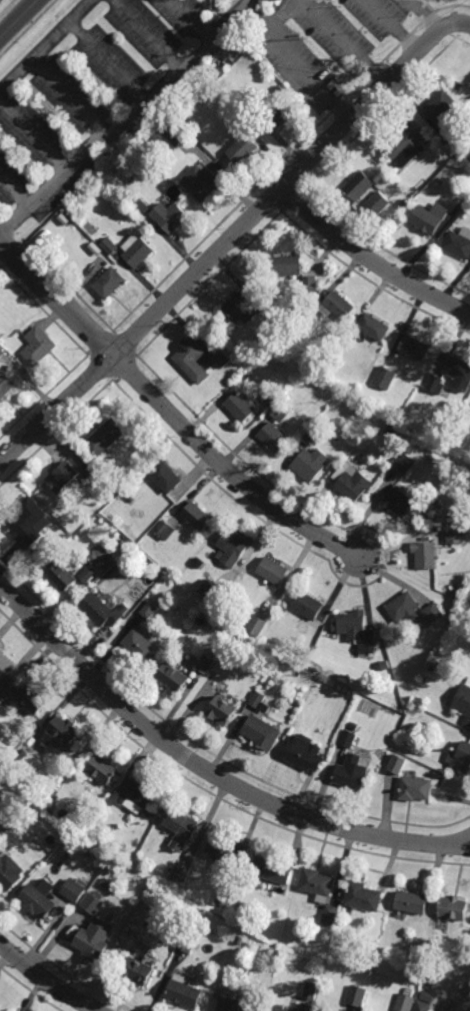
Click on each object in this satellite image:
building: (274, 0)
road: (242, 9)
road: (426, 15)
road: (19, 19)
road: (192, 20)
road: (391, 26)
road: (463, 26)
road: (147, 36)
road: (342, 42)
road: (46, 44)
road: (108, 64)
road: (302, 72)
road: (70, 96)
building: (440, 106)
road: (145, 108)
building: (278, 113)
building: (177, 133)
road: (34, 134)
building: (454, 139)
building: (407, 144)
building: (242, 148)
building: (201, 182)
building: (359, 185)
building: (412, 197)
building: (463, 202)
building: (378, 203)
building: (405, 203)
building: (139, 205)
building: (169, 215)
building: (430, 218)
road: (14, 220)
building: (77, 229)
road: (227, 243)
building: (458, 244)
building: (108, 246)
building: (137, 251)
road: (370, 260)
building: (288, 265)
building: (108, 282)
building: (310, 283)
building: (275, 290)
building: (336, 306)
building: (240, 308)
building: (374, 327)
building: (37, 345)
building: (415, 348)
building: (1, 352)
building: (222, 358)
building: (192, 361)
building: (459, 373)
building: (385, 378)
building: (6, 384)
building: (436, 385)
building: (271, 398)
building: (240, 407)
road: (169, 412)
building: (280, 413)
building: (389, 431)
building: (273, 436)
building: (315, 437)
building: (103, 438)
building: (309, 463)
building: (404, 463)
building: (446, 475)
building: (165, 477)
building: (62, 478)
building: (95, 478)
building: (120, 479)
building: (351, 482)
building: (130, 498)
building: (398, 500)
building: (197, 516)
building: (28, 523)
building: (164, 529)
building: (456, 533)
building: (120, 542)
building: (232, 548)
building: (425, 550)
building: (445, 566)
building: (272, 570)
building: (87, 573)
building: (61, 575)
building: (213, 591)
building: (306, 604)
building: (404, 608)
building: (103, 609)
building: (149, 609)
building: (433, 612)
building: (254, 624)
building: (228, 632)
building: (357, 632)
building: (235, 639)
building: (141, 645)
building: (205, 663)
building: (5, 666)
building: (172, 675)
building: (323, 678)
building: (31, 698)
building: (258, 700)
building: (463, 702)
building: (222, 709)
building: (412, 709)
building: (354, 725)
building: (261, 730)
building: (63, 732)
building: (348, 738)
building: (304, 753)
building: (17, 757)
building: (460, 758)
building: (398, 763)
building: (102, 768)
road: (206, 772)
building: (352, 772)
building: (415, 787)
building: (137, 793)
building: (33, 814)
building: (4, 823)
building: (181, 827)
building: (96, 844)
building: (131, 845)
building: (226, 851)
building: (271, 869)
building: (9, 872)
building: (181, 872)
building: (110, 885)
building: (75, 888)
building: (320, 890)
building: (363, 896)
building: (224, 897)
building: (39, 898)
building: (93, 901)
building: (411, 902)
building: (453, 907)
building: (240, 919)
building: (199, 923)
building: (240, 940)
building: (93, 941)
building: (186, 942)
building: (137, 971)
road: (46, 980)
building: (311, 990)
building: (184, 992)
building: (357, 995)
building: (415, 1001)
building: (236, 1002)
building: (279, 1008)
building: (300, 1010)

